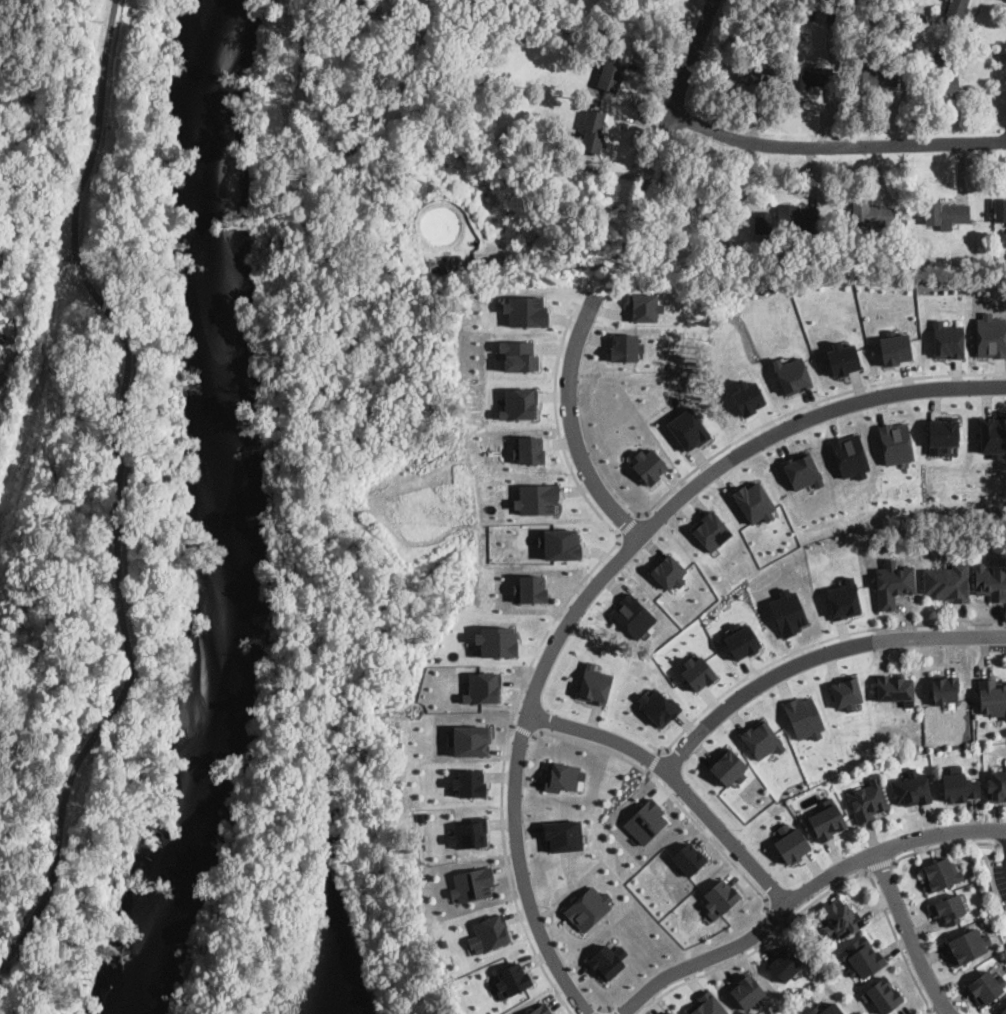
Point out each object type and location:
building: (833, 10)
building: (955, 12)
building: (917, 15)
building: (917, 32)
road: (687, 58)
building: (750, 71)
building: (944, 73)
building: (610, 76)
building: (810, 76)
building: (872, 77)
river: (211, 114)
building: (592, 130)
road: (835, 146)
building: (999, 210)
building: (944, 213)
building: (796, 215)
building: (871, 215)
building: (761, 220)
building: (997, 255)
building: (914, 267)
building: (645, 307)
building: (525, 310)
building: (990, 335)
building: (947, 339)
building: (0, 342)
building: (0, 346)
building: (623, 346)
building: (894, 348)
building: (517, 354)
building: (842, 358)
building: (791, 374)
building: (746, 396)
building: (519, 403)
road: (806, 404)
road: (571, 424)
road: (557, 425)
building: (687, 428)
building: (942, 434)
building: (992, 435)
building: (895, 442)
building: (527, 448)
building: (849, 455)
building: (648, 465)
building: (801, 470)
road: (713, 471)
road: (118, 489)
building: (536, 498)
building: (753, 501)
road: (628, 525)
building: (710, 529)
building: (559, 543)
building: (668, 571)
building: (990, 581)
building: (894, 582)
building: (949, 582)
building: (530, 587)
building: (843, 598)
building: (787, 610)
building: (632, 614)
park: (78, 619)
river: (231, 627)
building: (496, 639)
building: (741, 641)
road: (808, 644)
road: (815, 655)
building: (697, 672)
building: (594, 684)
building: (482, 687)
building: (896, 688)
building: (944, 688)
building: (846, 691)
building: (992, 696)
building: (658, 706)
building: (803, 717)
road: (522, 730)
building: (761, 738)
building: (470, 739)
road: (654, 761)
road: (504, 766)
building: (729, 766)
building: (562, 777)
road: (675, 781)
building: (469, 782)
building: (959, 785)
building: (996, 785)
building: (911, 788)
road: (669, 794)
building: (868, 799)
road: (1000, 818)
building: (827, 820)
building: (646, 821)
building: (467, 834)
building: (563, 834)
road: (1002, 844)
building: (792, 845)
road: (942, 848)
building: (688, 858)
road: (879, 866)
road: (521, 872)
building: (940, 874)
building: (472, 884)
road: (801, 893)
building: (721, 896)
road: (818, 899)
building: (588, 908)
building: (948, 908)
road: (778, 916)
building: (841, 919)
building: (488, 932)
road: (909, 934)
building: (967, 945)
building: (861, 956)
building: (605, 963)
building: (785, 964)
building: (513, 979)
building: (985, 986)
building: (746, 990)
building: (883, 995)
building: (707, 1005)
road: (604, 1008)
building: (825, 1009)
building: (540, 1010)
building: (1003, 1010)
road: (597, 1011)
road: (609, 1011)
road: (931, 1011)
building: (668, 1012)
road: (947, 1013)

